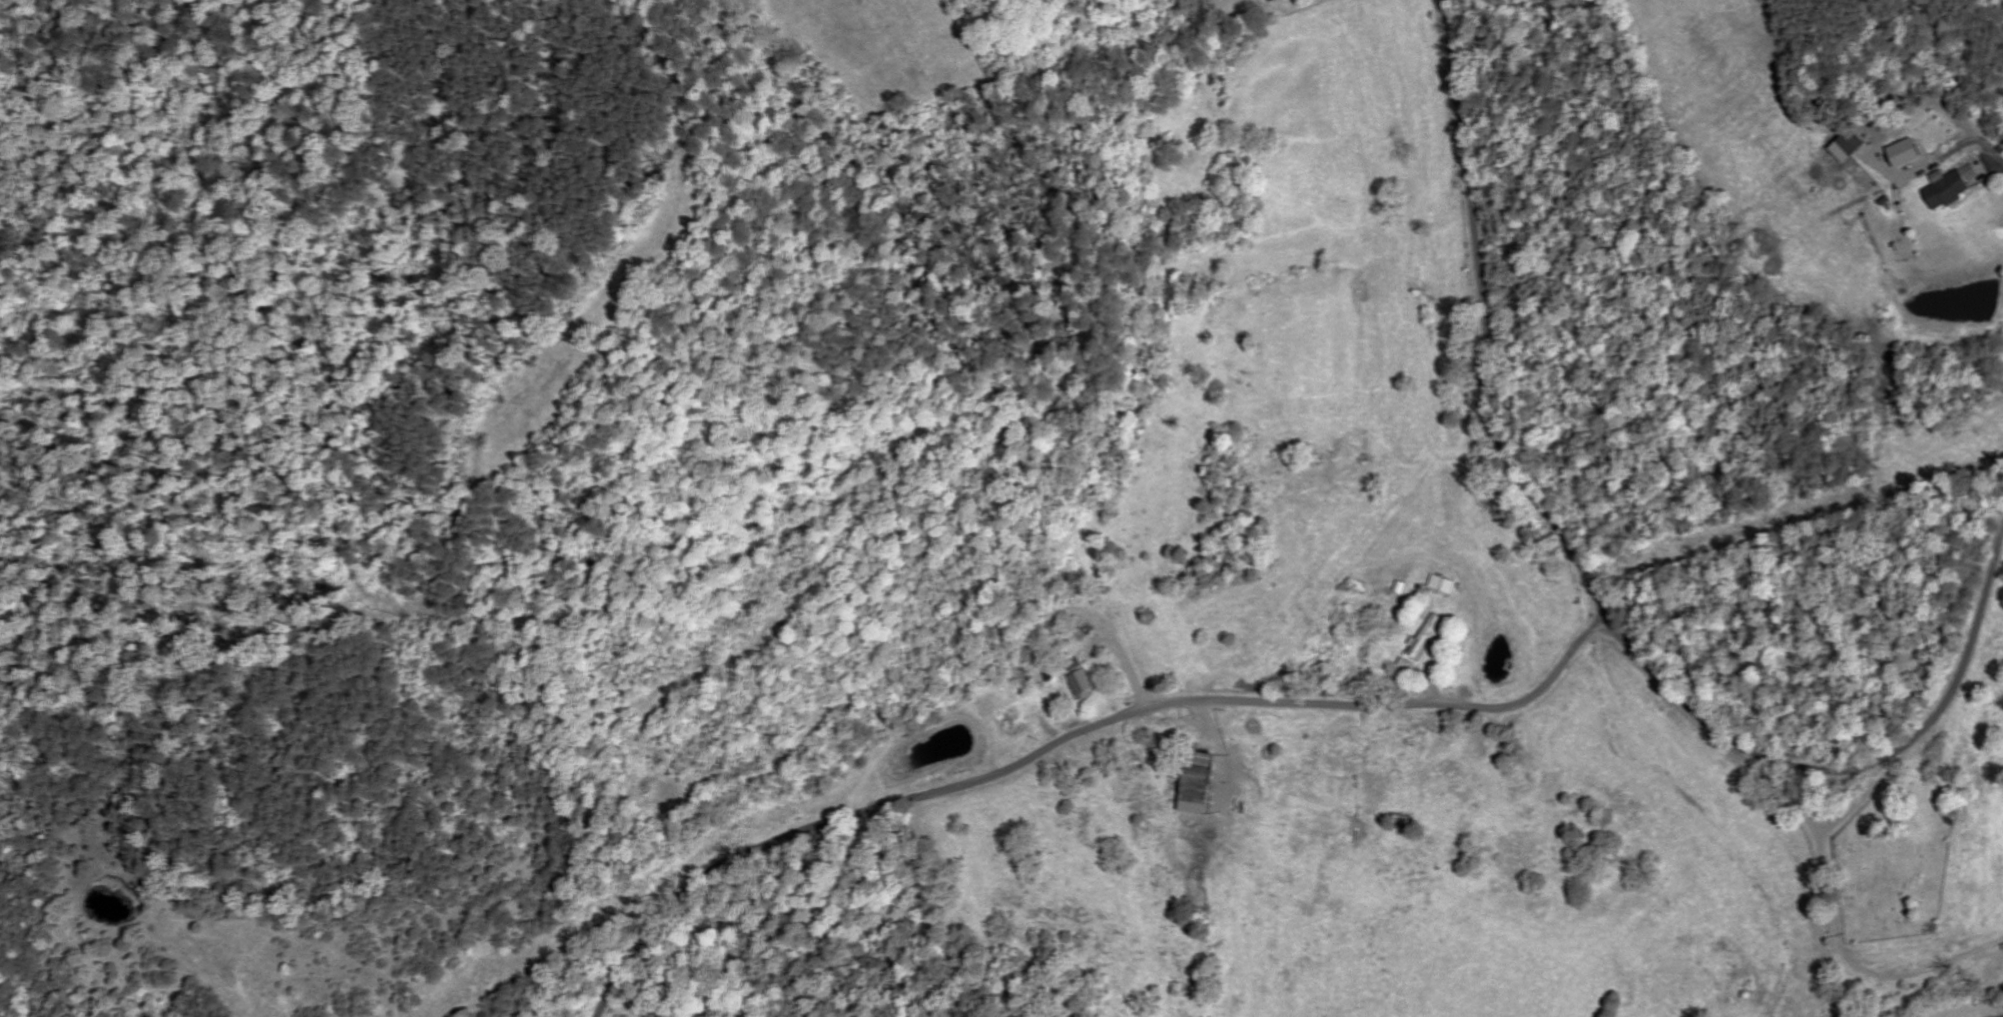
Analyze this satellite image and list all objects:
building: (1852, 146)
building: (1909, 152)
building: (1955, 186)
road: (1486, 327)
building: (1439, 581)
building: (1427, 634)
building: (1085, 682)
road: (1068, 737)
road: (1850, 769)
building: (1204, 782)
park: (1897, 856)

